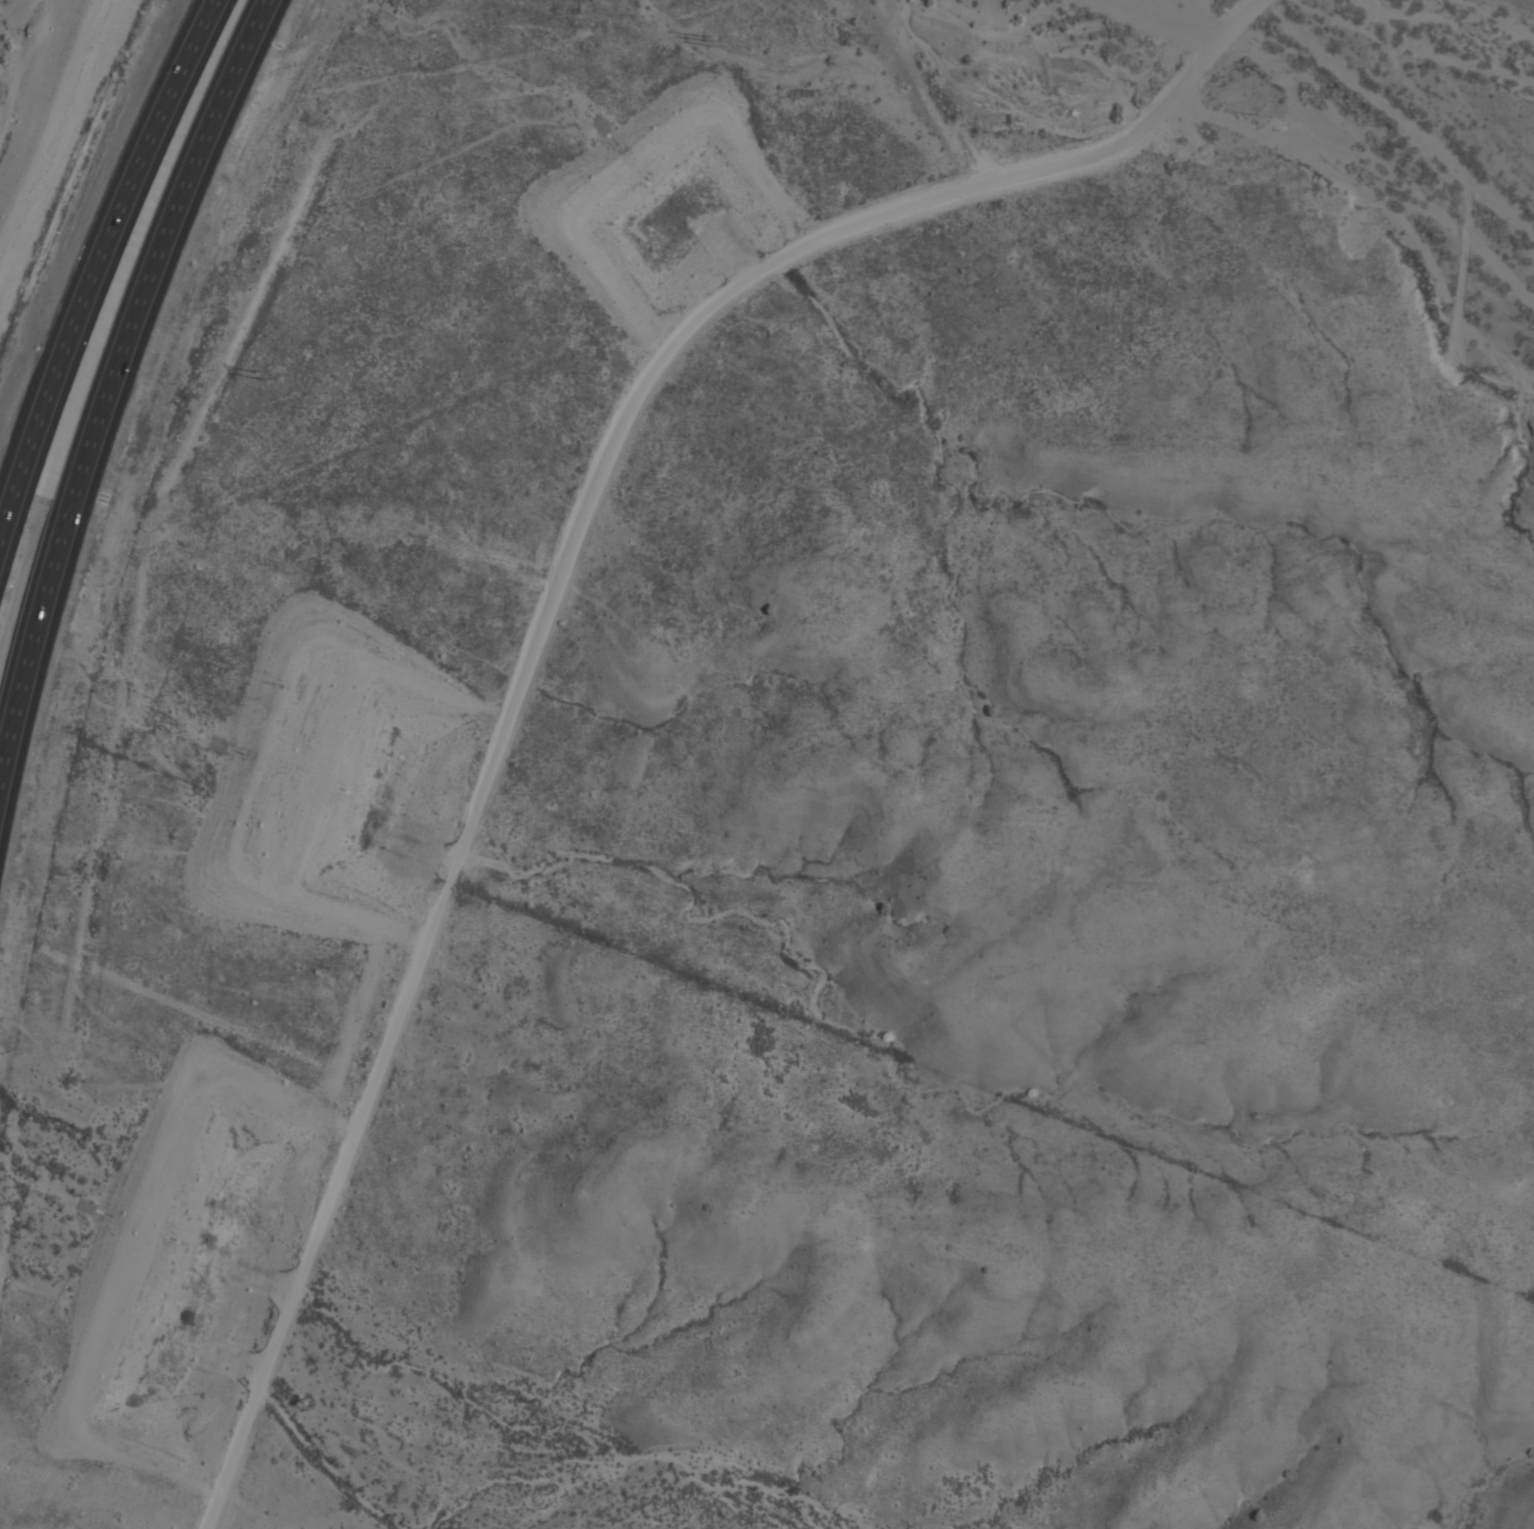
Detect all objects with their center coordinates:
dam: (626, 150)
road: (104, 252)
power tower: (252, 371)
road: (110, 389)
road: (547, 599)

